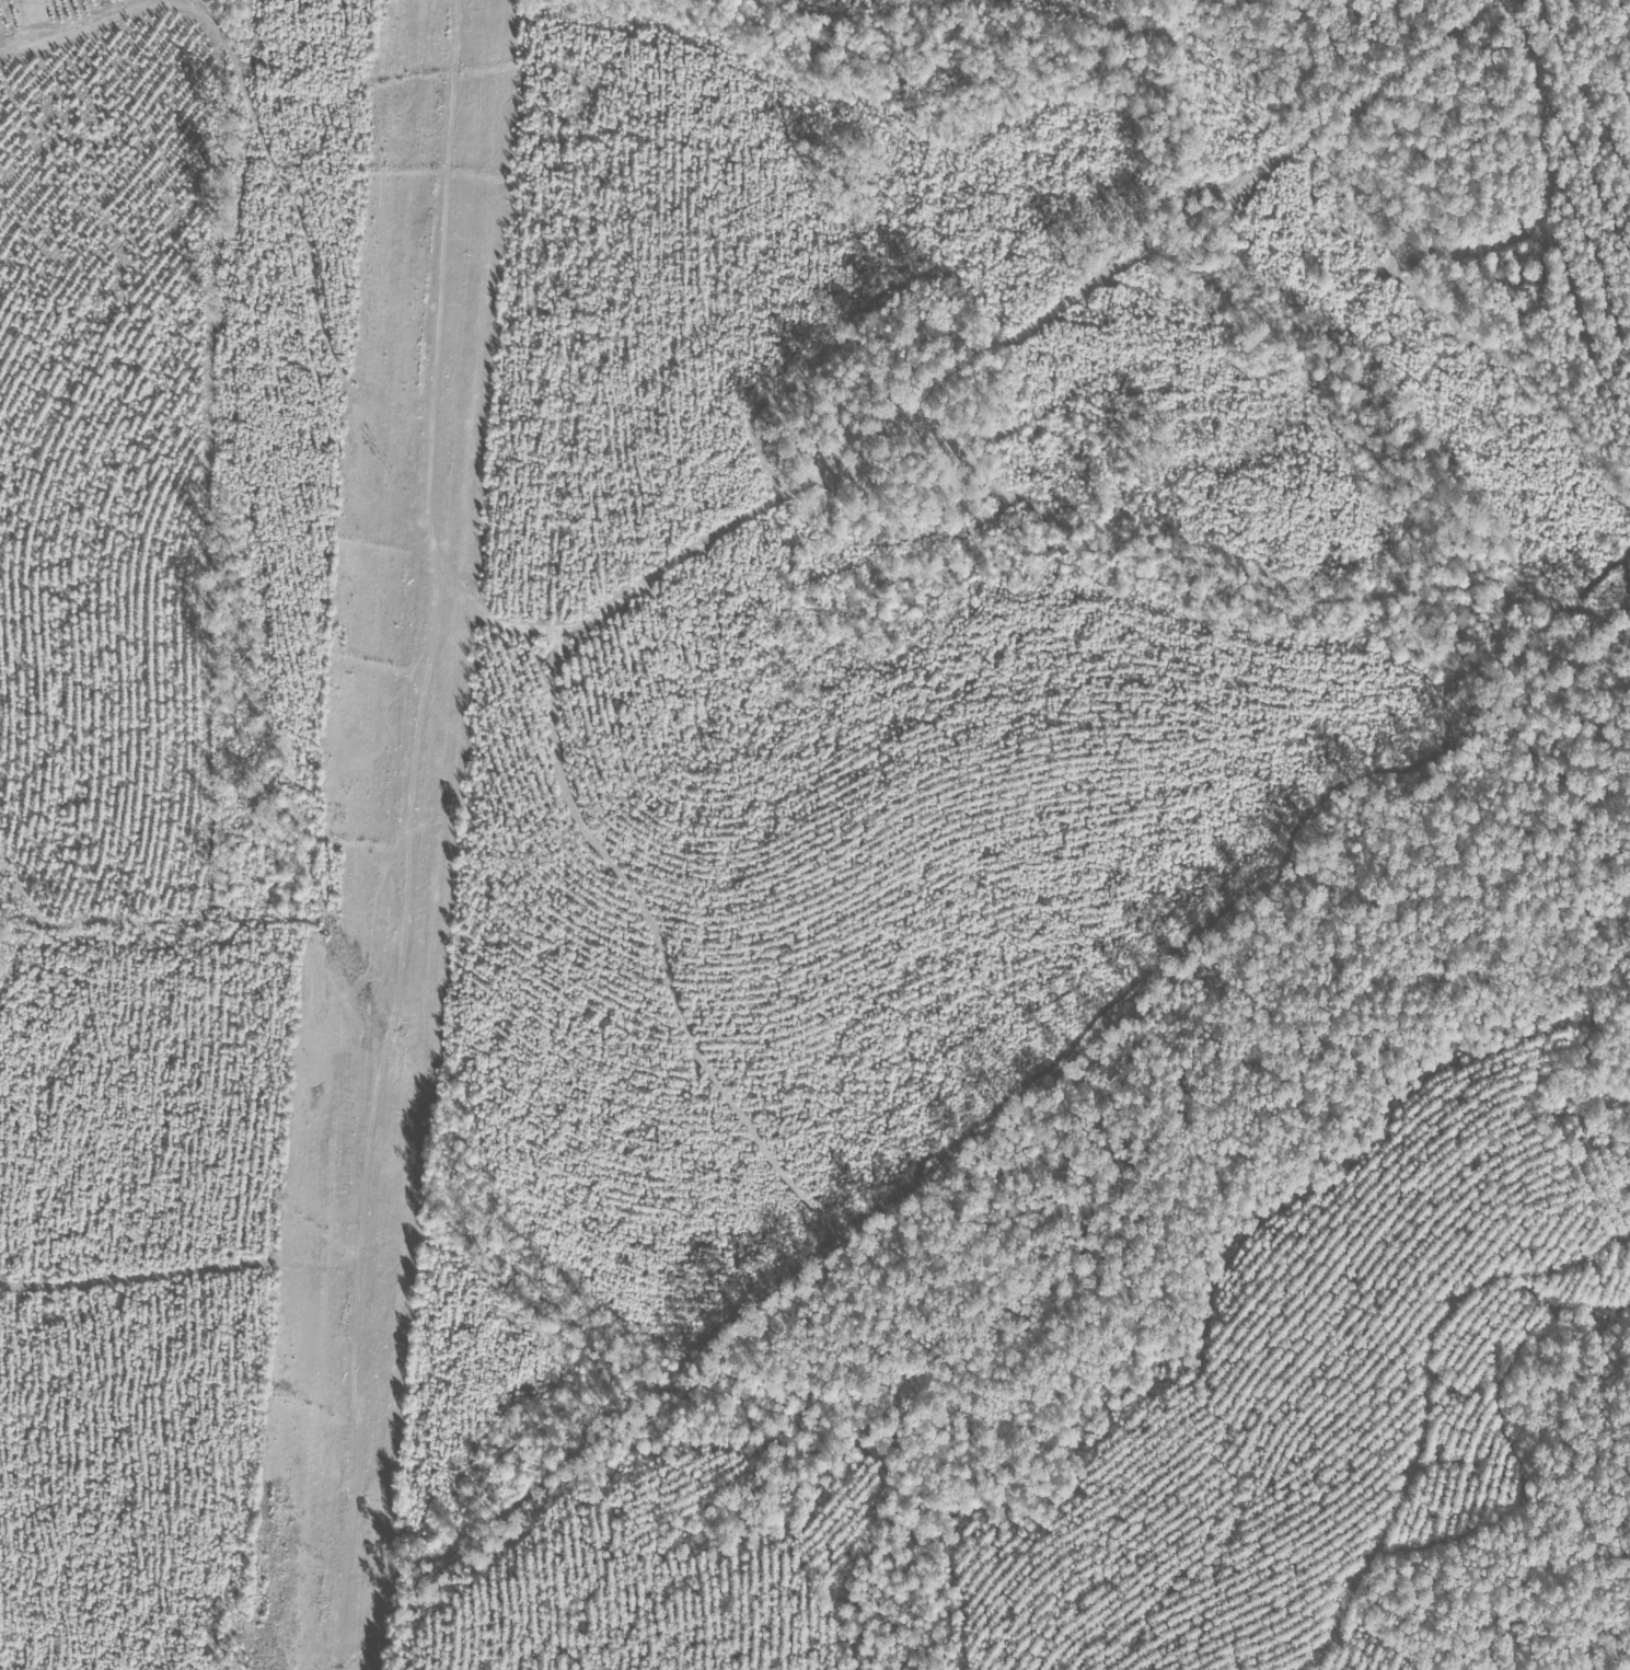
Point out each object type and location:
building: (860, 463)

